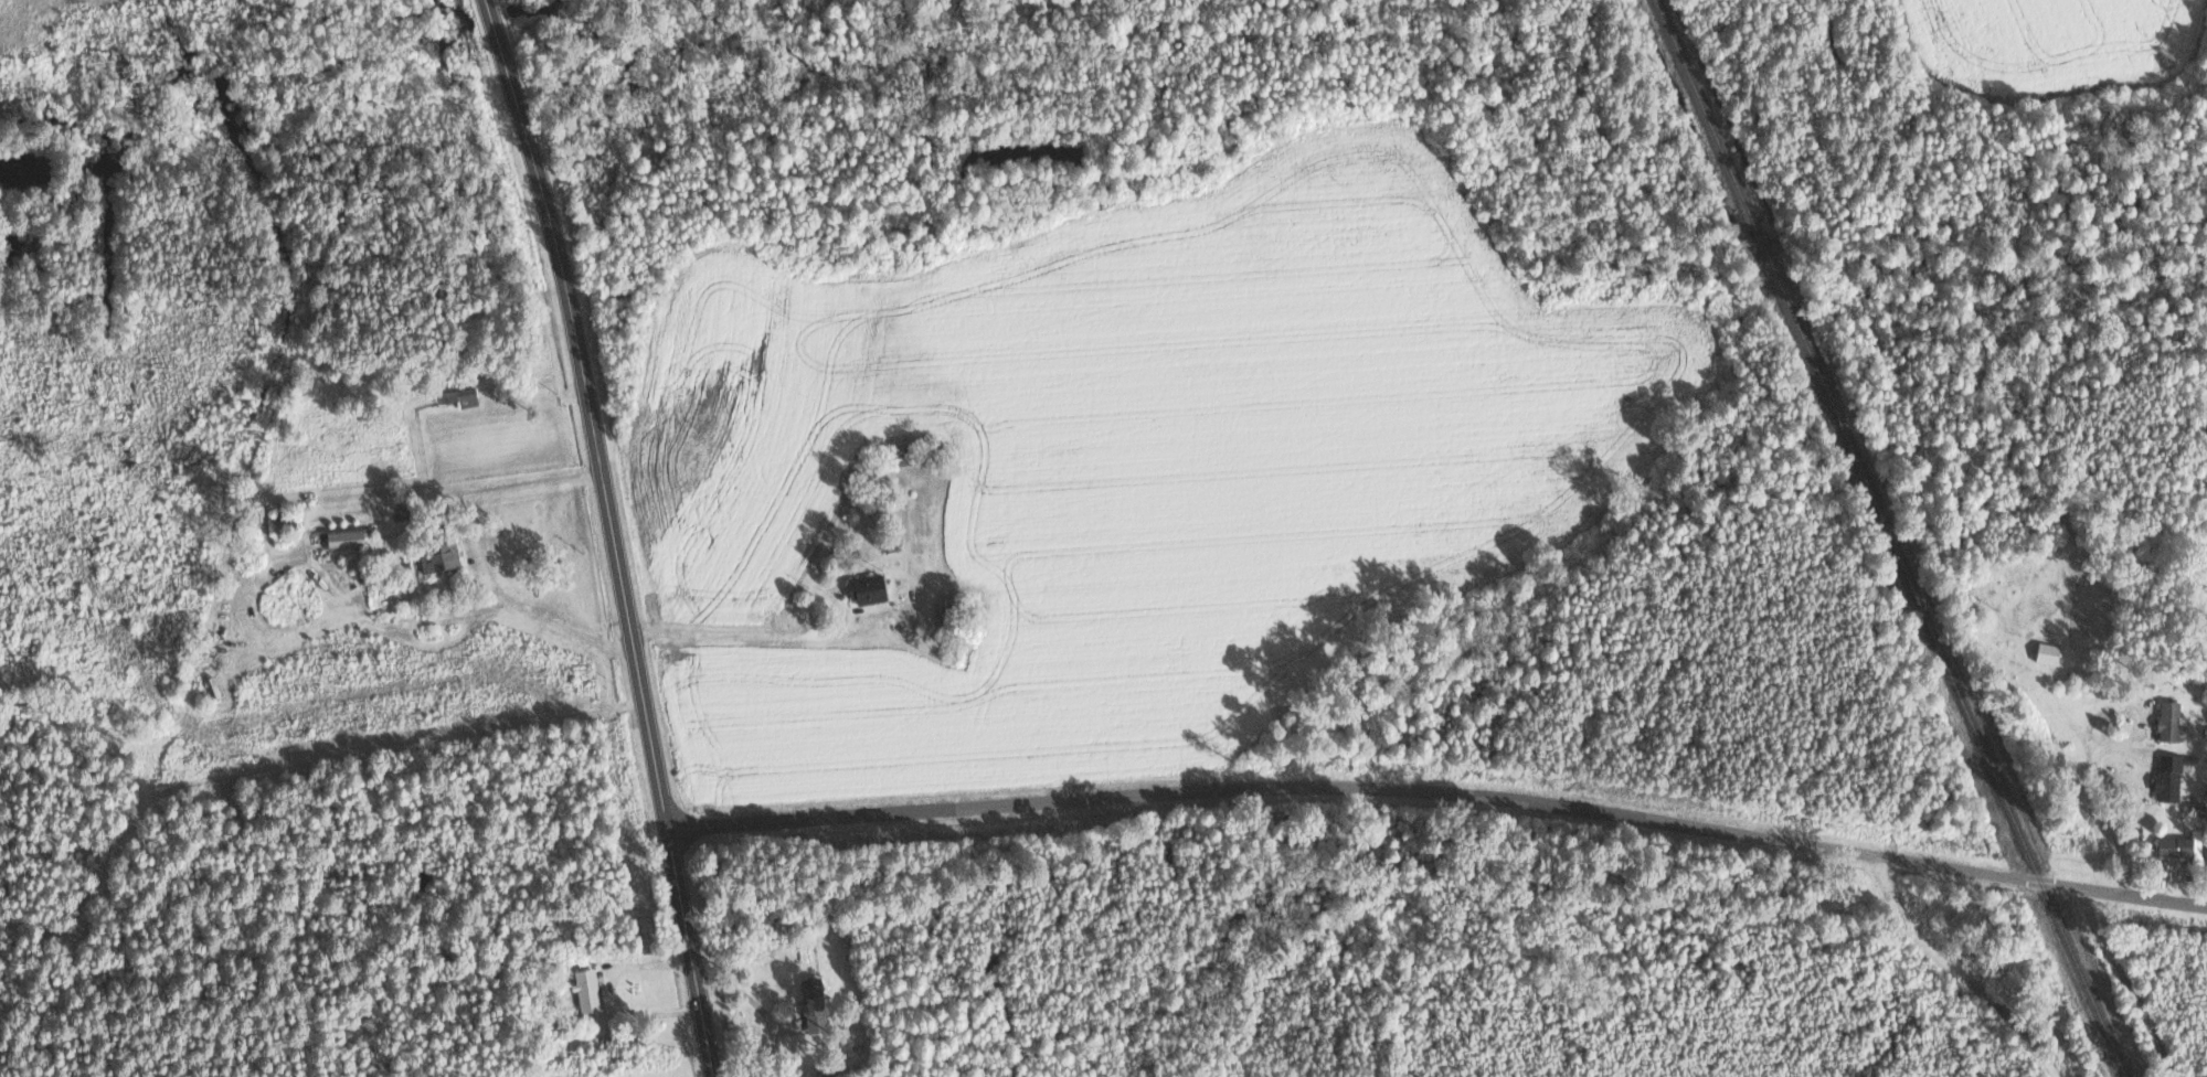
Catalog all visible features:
railway: (1704, 111)
railway: (1759, 238)
building: (458, 396)
building: (283, 525)
road: (614, 535)
building: (344, 538)
road: (487, 555)
building: (438, 557)
building: (867, 589)
road: (722, 635)
building: (2048, 653)
railway: (1945, 665)
building: (2169, 721)
building: (2169, 778)
road: (1441, 795)
building: (2197, 809)
road: (2111, 823)
building: (2183, 845)
road: (1955, 975)
road: (2129, 981)
building: (587, 990)
building: (813, 1003)

